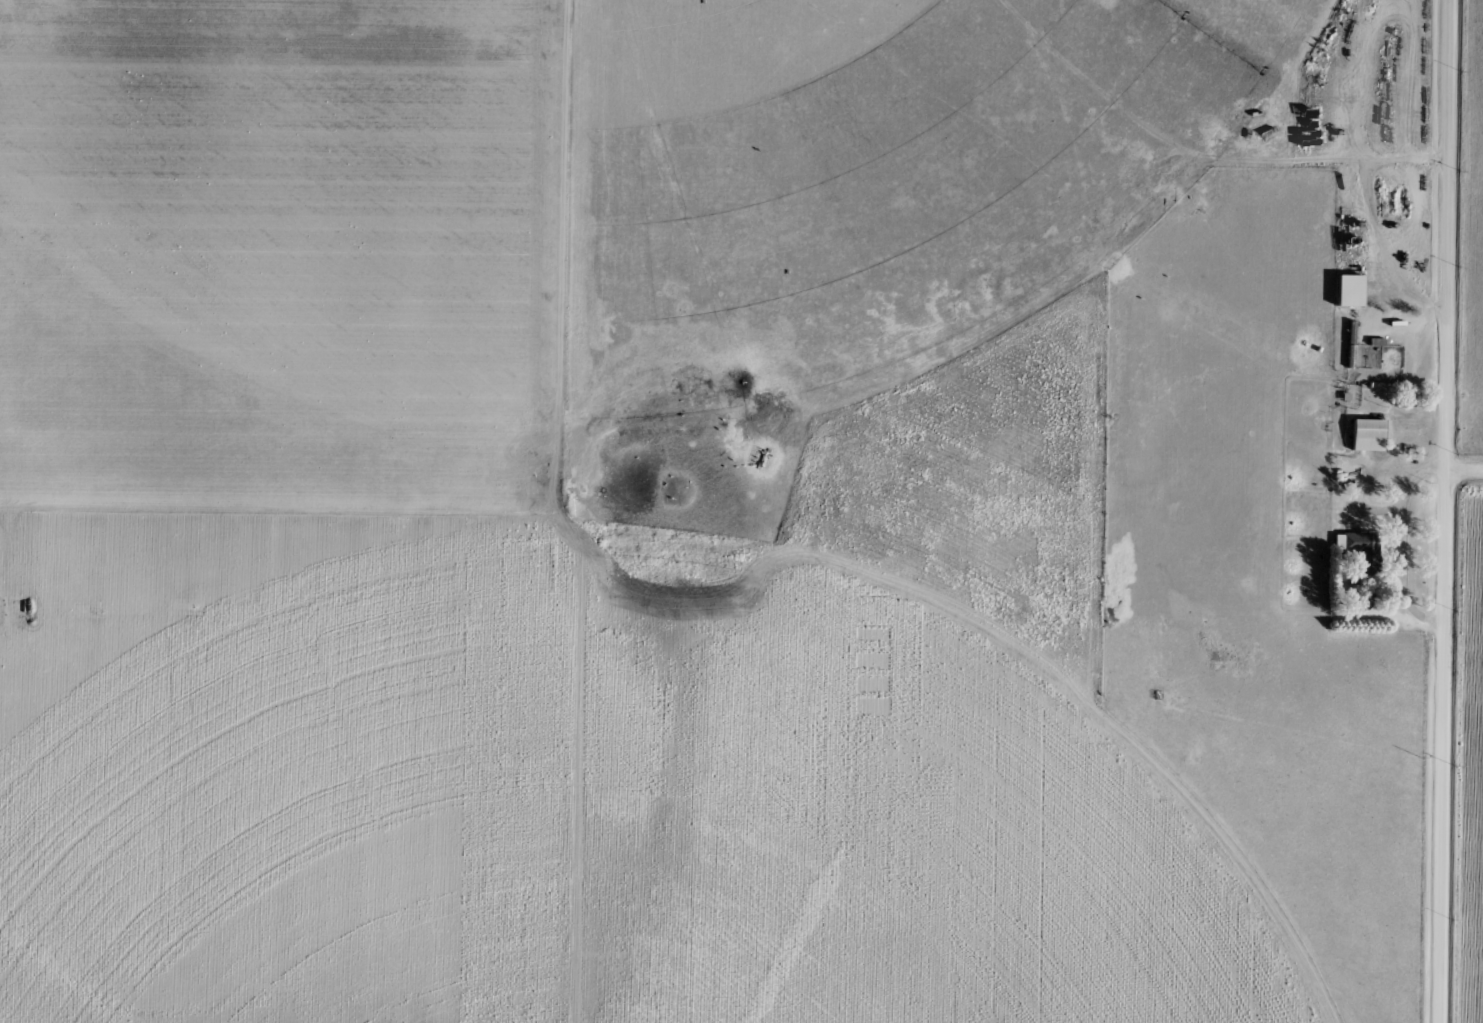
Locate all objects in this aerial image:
building: (1369, 434)
road: (1465, 486)
road: (1445, 511)

